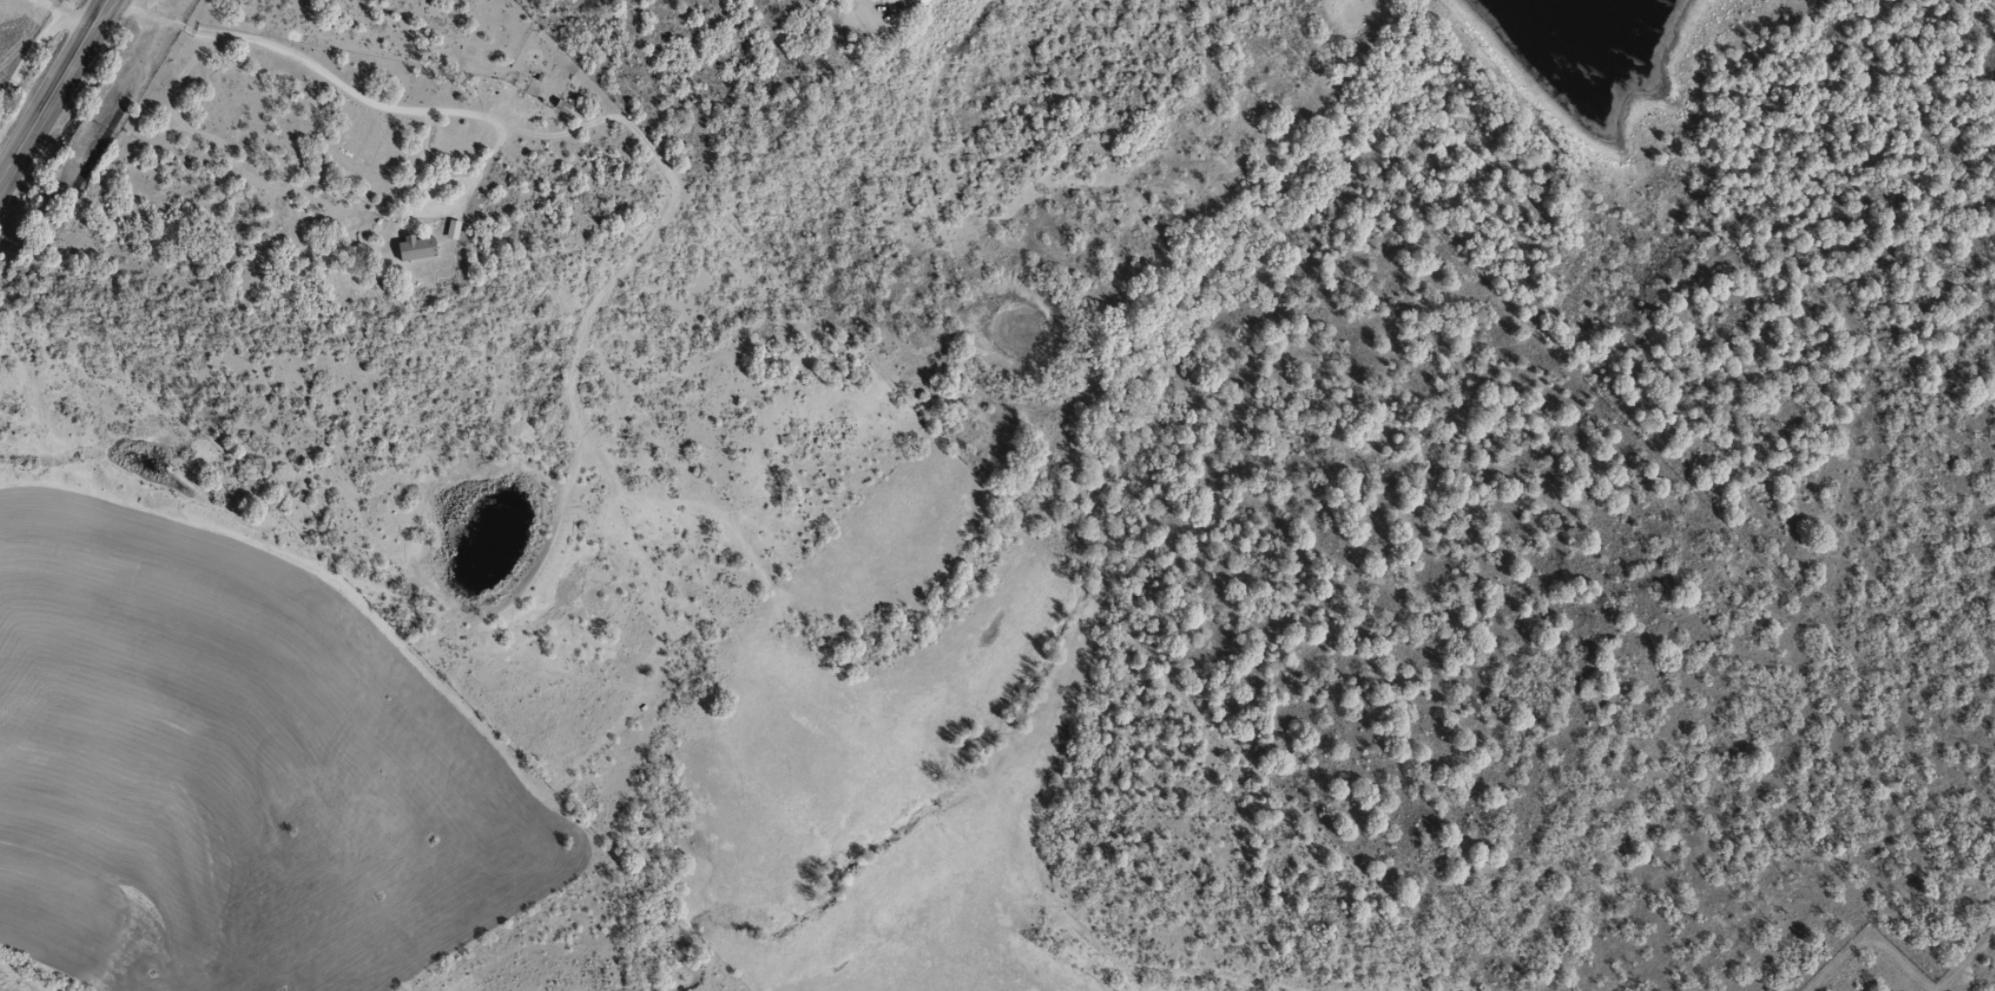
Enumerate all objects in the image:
building: (923, 3)
road: (77, 10)
road: (31, 64)
road: (60, 96)
building: (562, 106)
building: (451, 229)
building: (415, 248)

